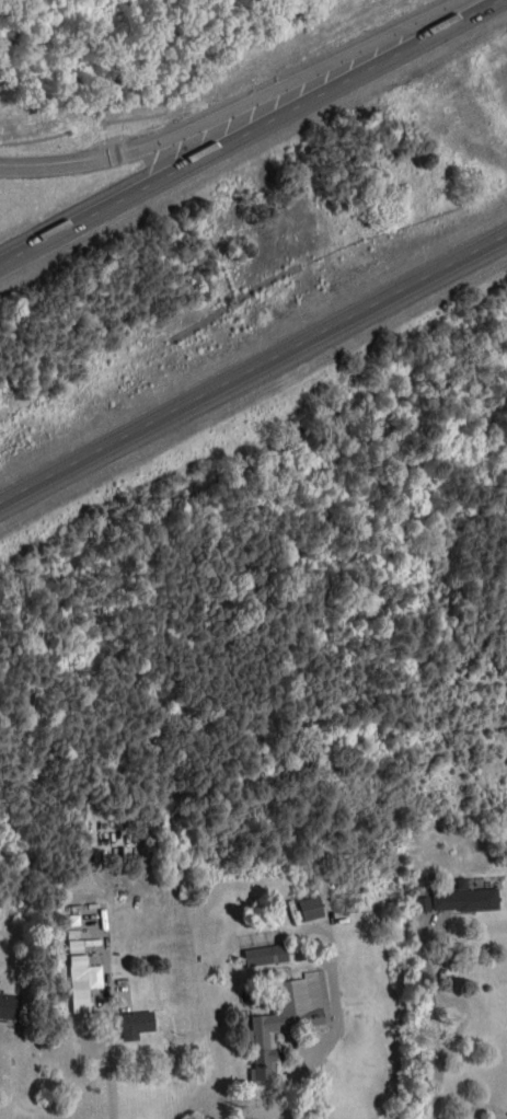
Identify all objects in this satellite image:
road: (235, 109)
road: (246, 130)
road: (253, 364)
building: (464, 897)
building: (423, 903)
building: (310, 907)
building: (265, 954)
building: (79, 982)
building: (9, 1005)
road: (437, 1015)
building: (131, 1017)
building: (287, 1018)
road: (111, 1070)

